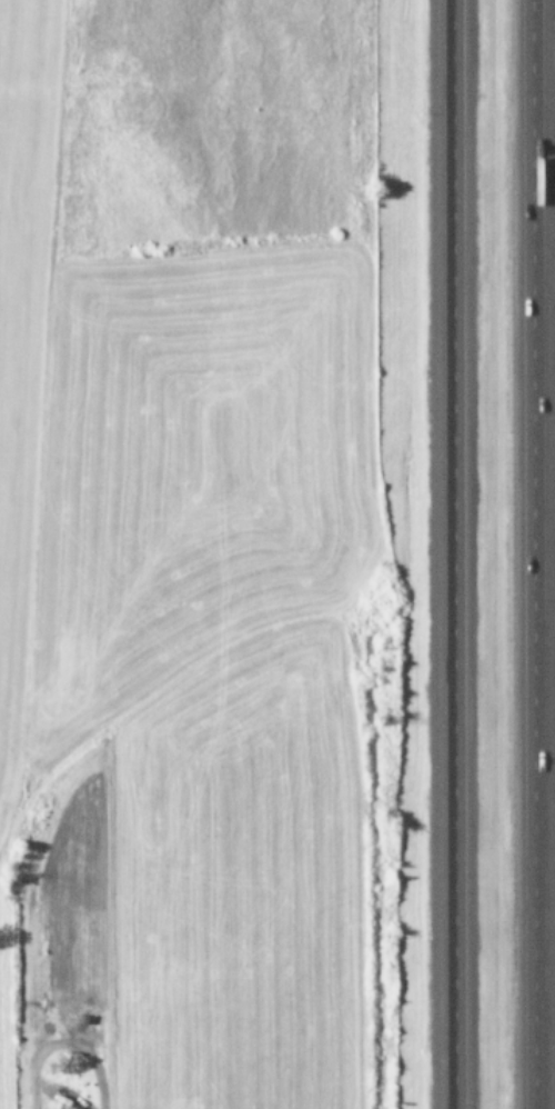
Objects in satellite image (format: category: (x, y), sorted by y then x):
crop: (174, 363)
road: (454, 553)
road: (531, 554)
road: (62, 1041)

